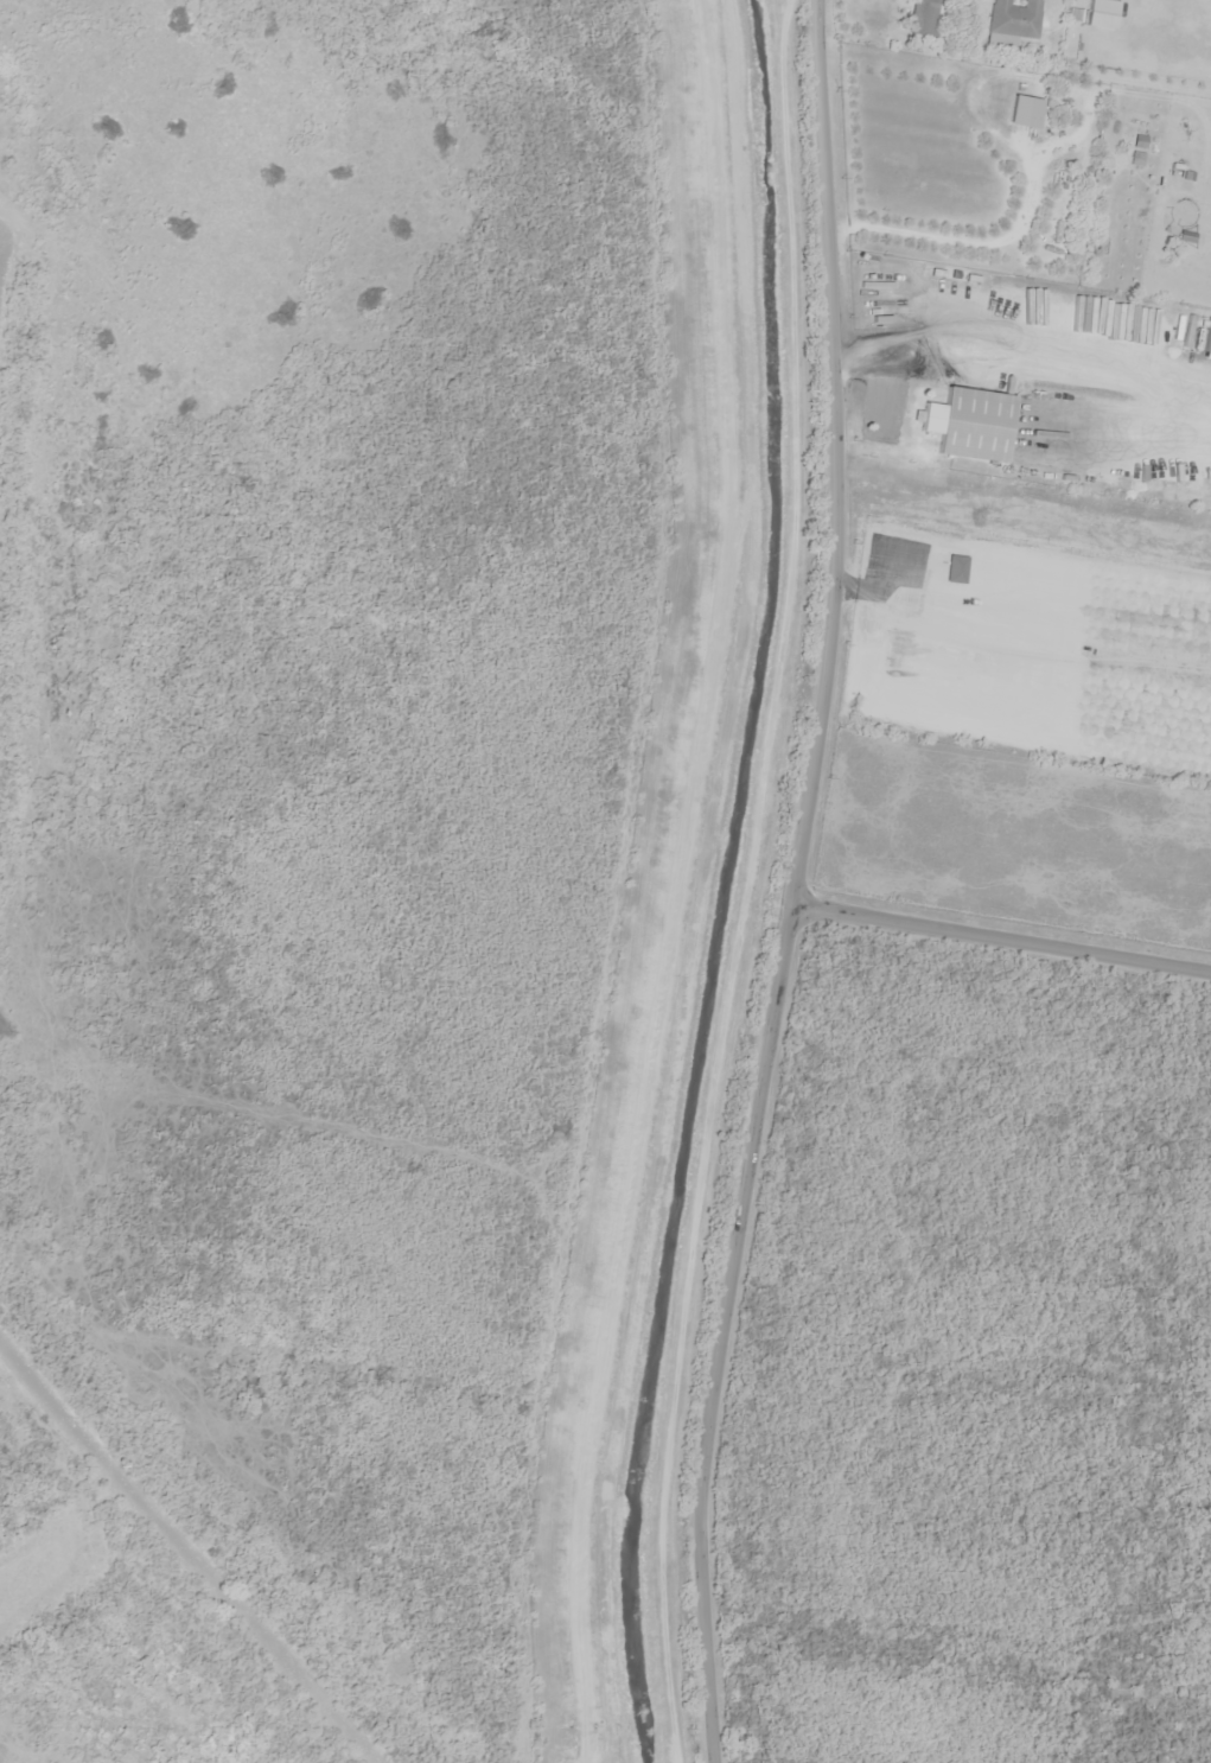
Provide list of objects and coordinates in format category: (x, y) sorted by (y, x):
building: (1098, 14)
building: (925, 18)
building: (1011, 23)
building: (1021, 112)
road: (795, 883)
road: (999, 948)

